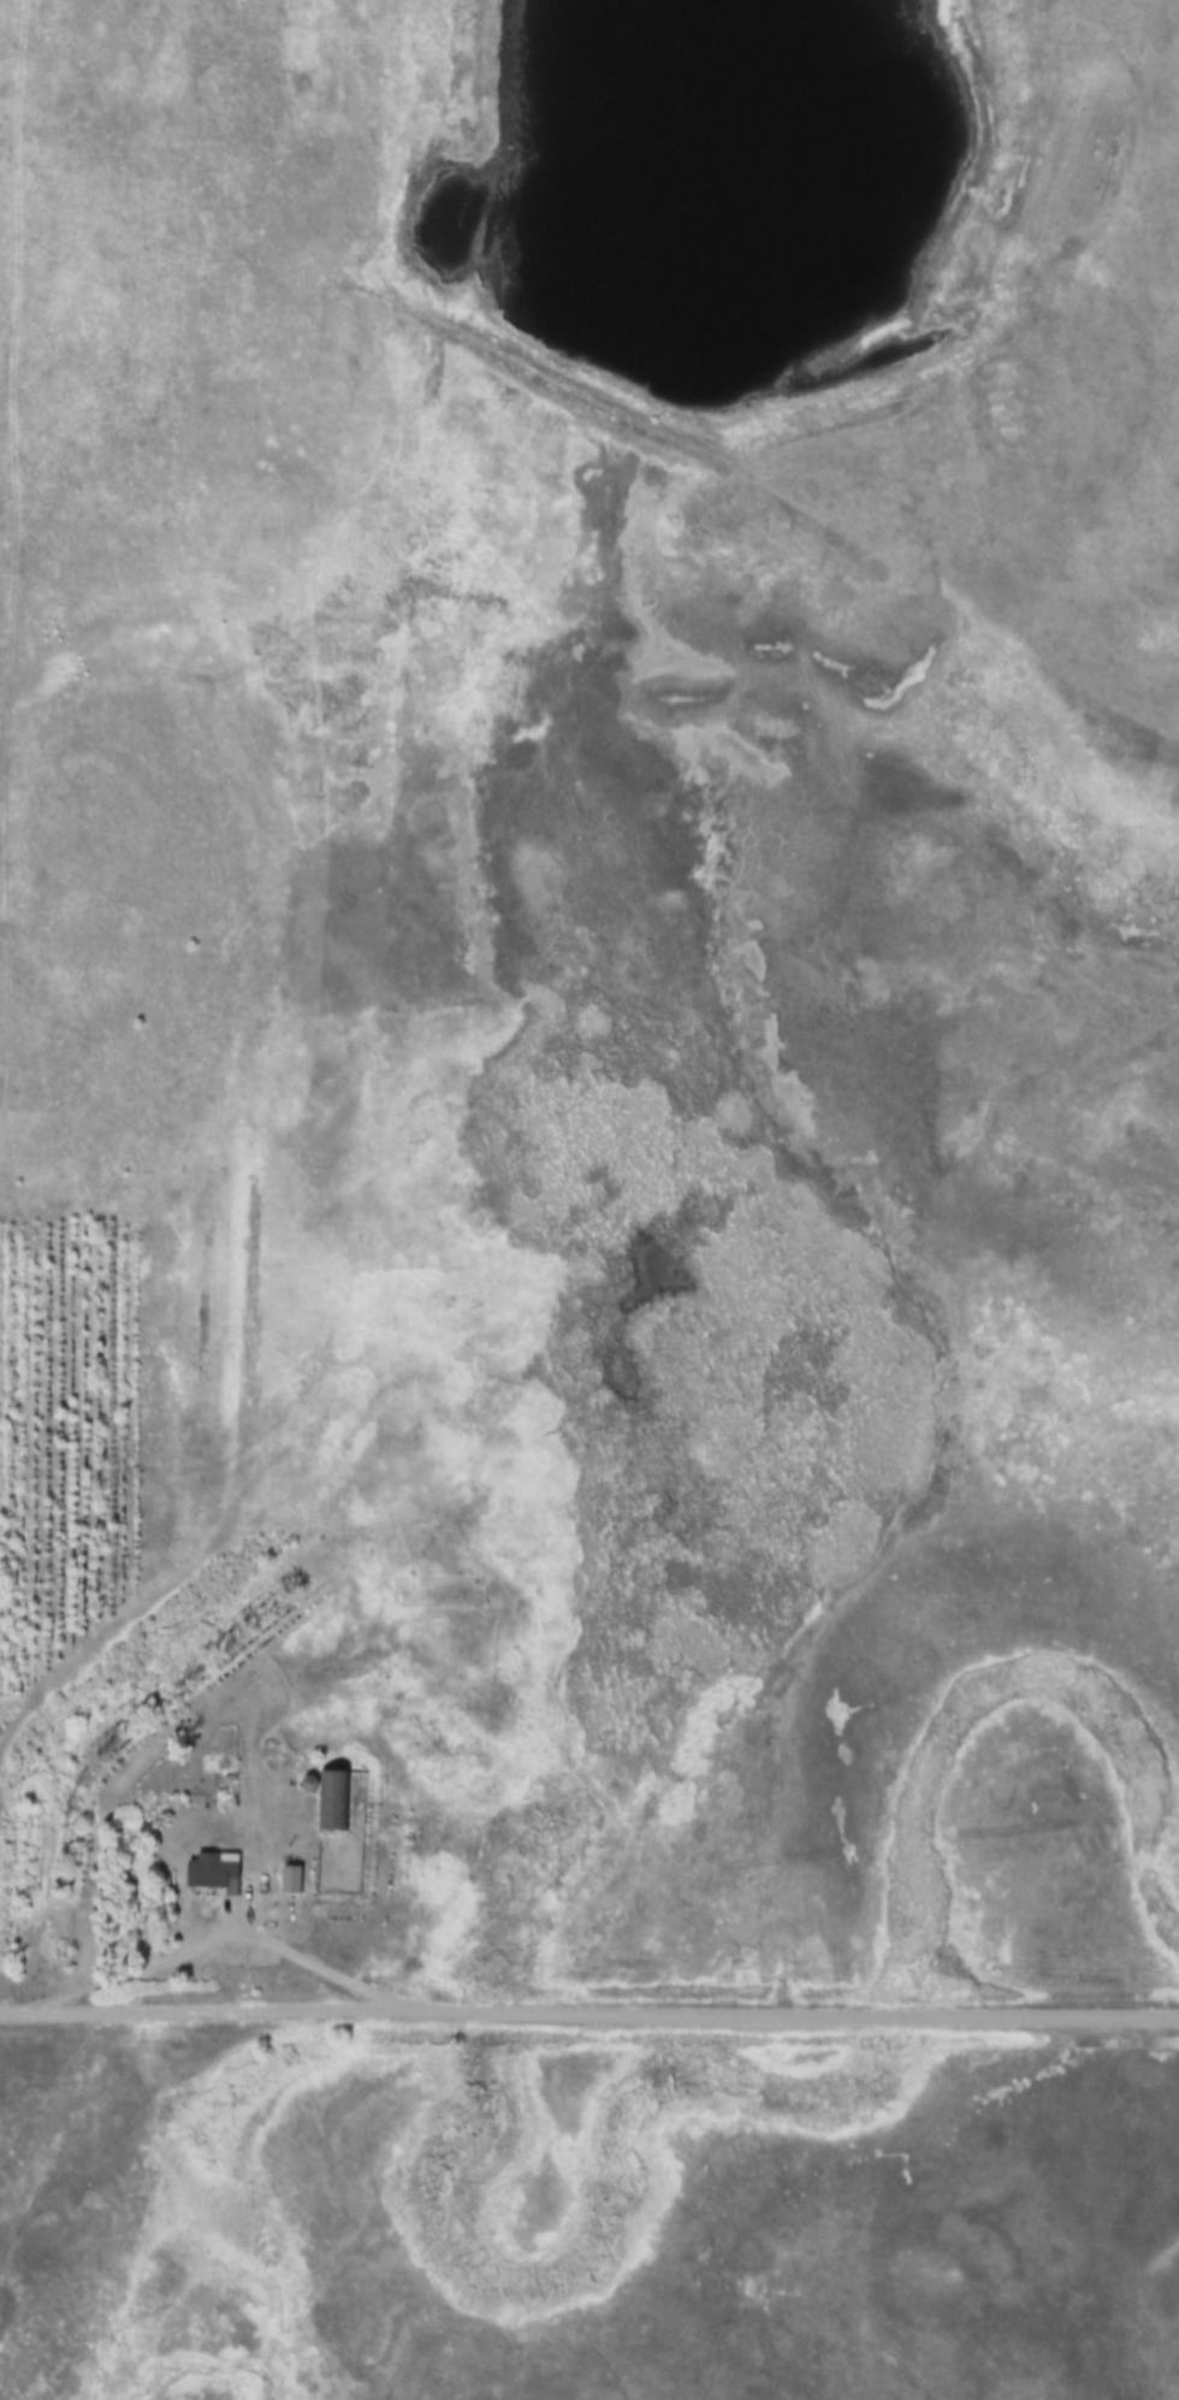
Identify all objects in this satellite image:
building: (338, 1801)
building: (220, 1874)
building: (297, 1880)
road: (229, 1932)
road: (24, 2010)
road: (614, 2010)

